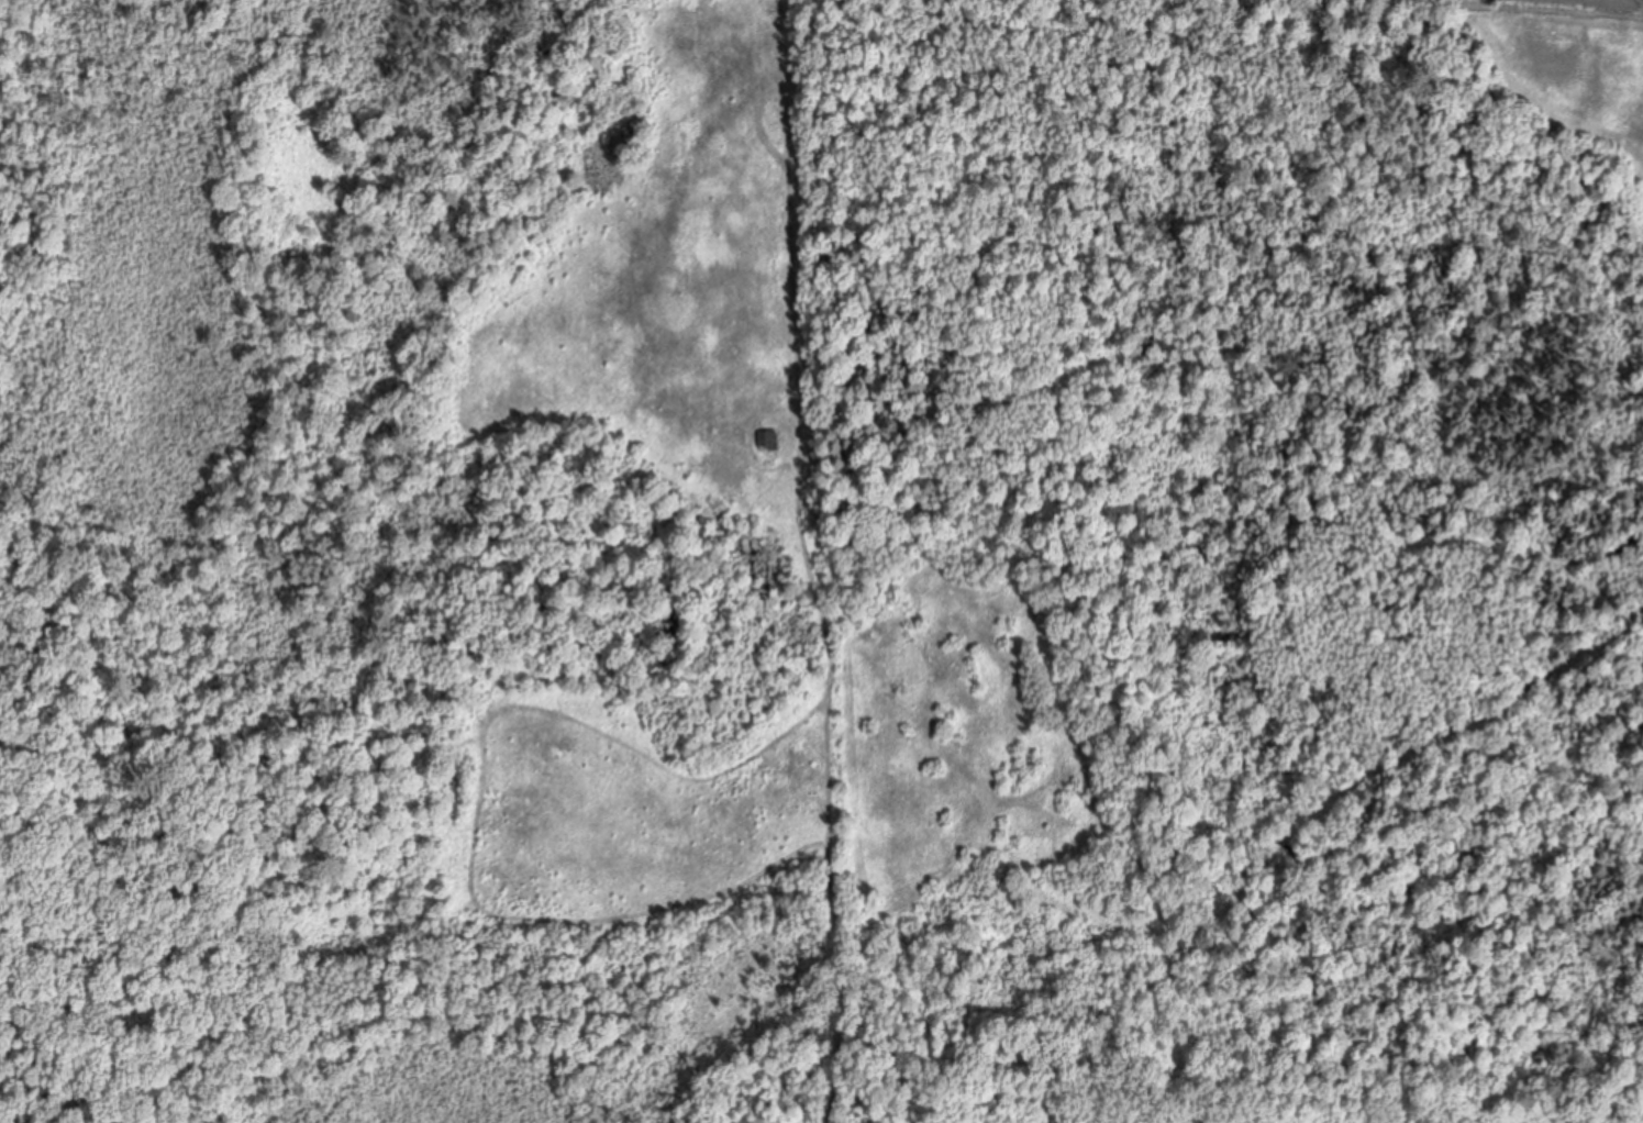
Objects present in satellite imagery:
building: (770, 438)

